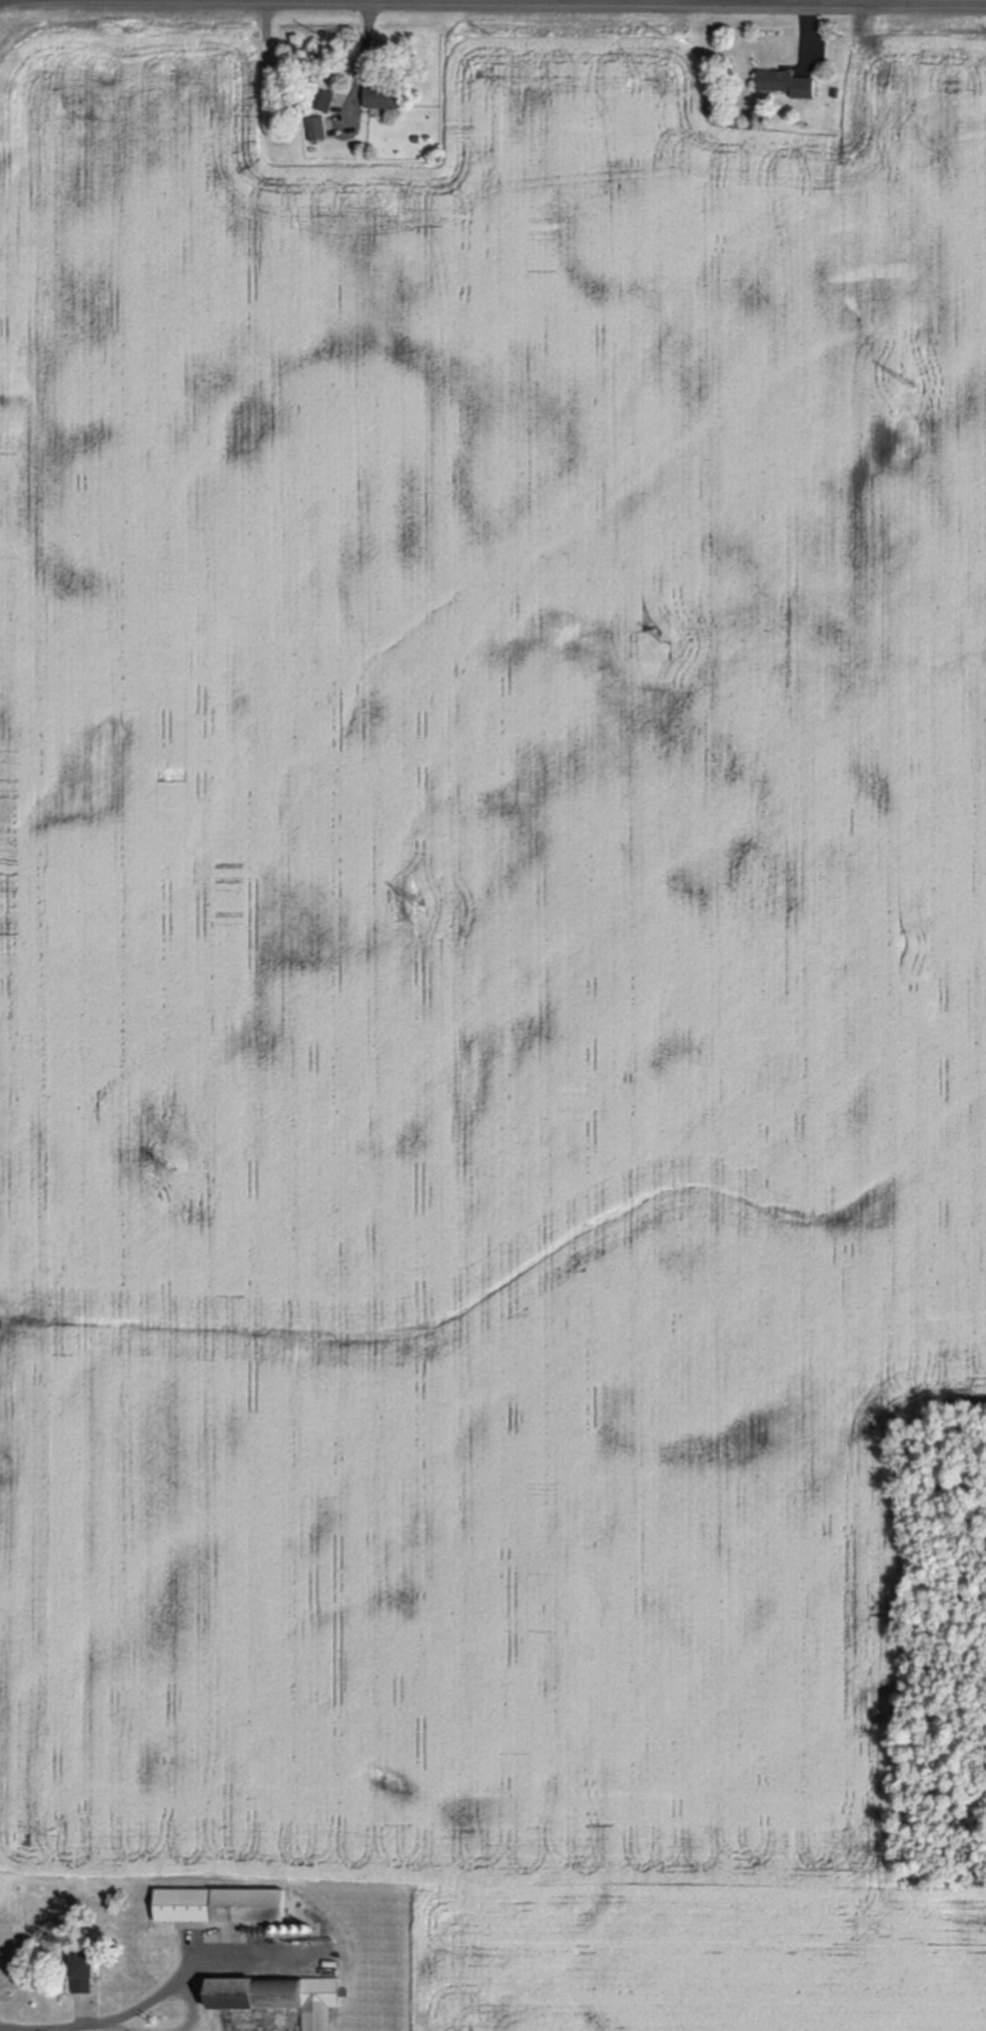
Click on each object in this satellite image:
road: (668, 2)
building: (787, 80)
building: (384, 95)
building: (324, 96)
building: (318, 126)
power tower: (906, 383)
power tower: (664, 639)
power tower: (419, 902)
power tower: (171, 1166)
quarry: (939, 1435)
building: (220, 1906)
building: (288, 1929)
building: (278, 1930)
building: (298, 1930)
building: (309, 1930)
building: (83, 1970)
building: (278, 1997)
road: (113, 2017)

